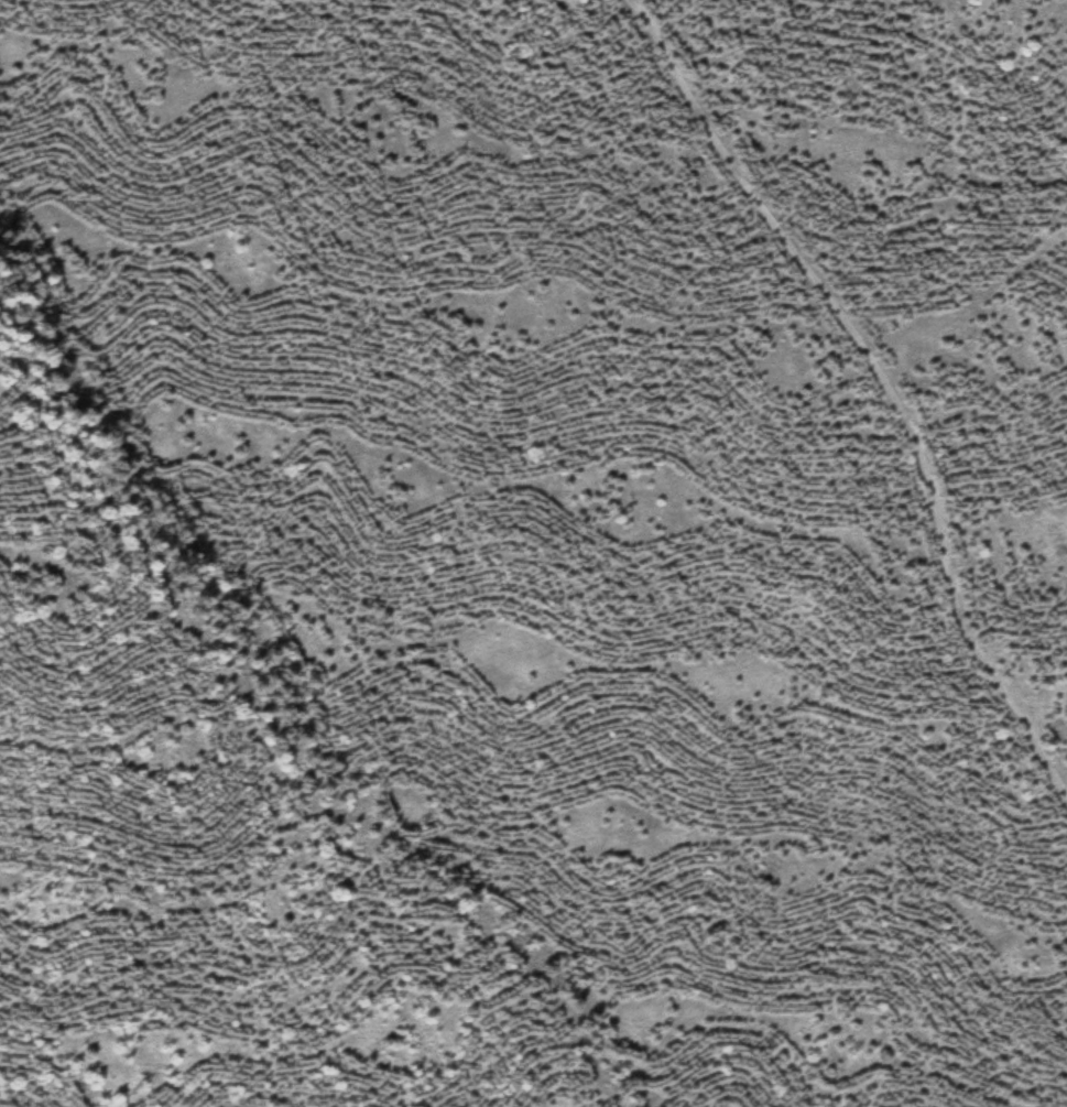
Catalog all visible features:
road: (157, 61)
road: (885, 376)

